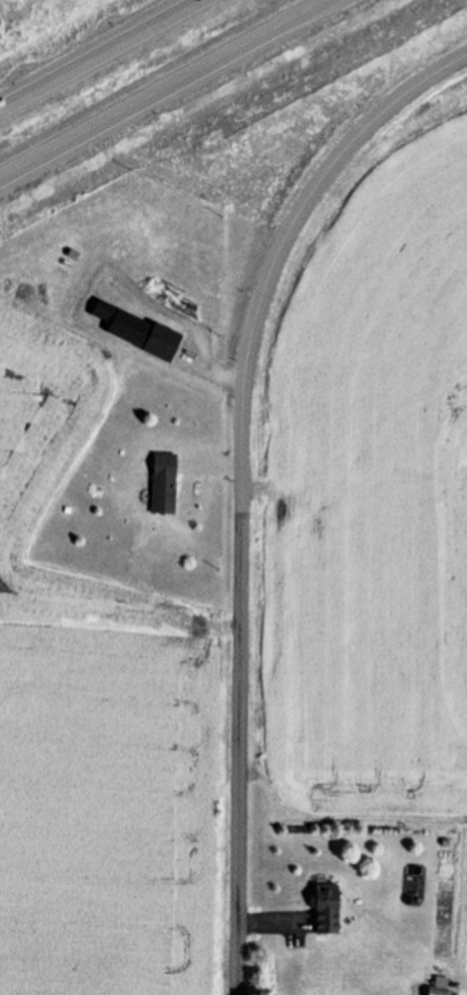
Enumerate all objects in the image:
road: (303, 11)
road: (100, 55)
road: (164, 91)
building: (142, 331)
road: (224, 373)
road: (218, 469)
building: (167, 483)
road: (244, 483)
building: (332, 908)
road: (266, 924)
building: (442, 986)

